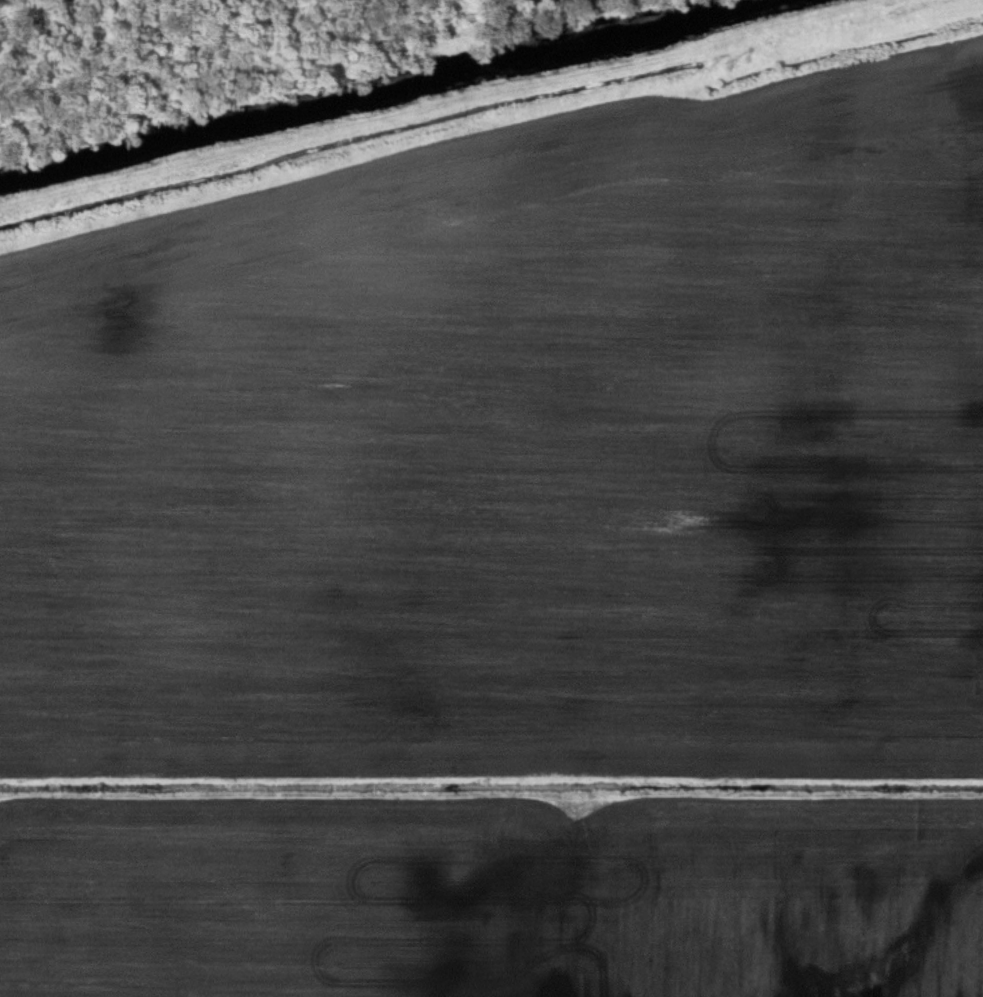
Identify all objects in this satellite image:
river: (366, 91)

